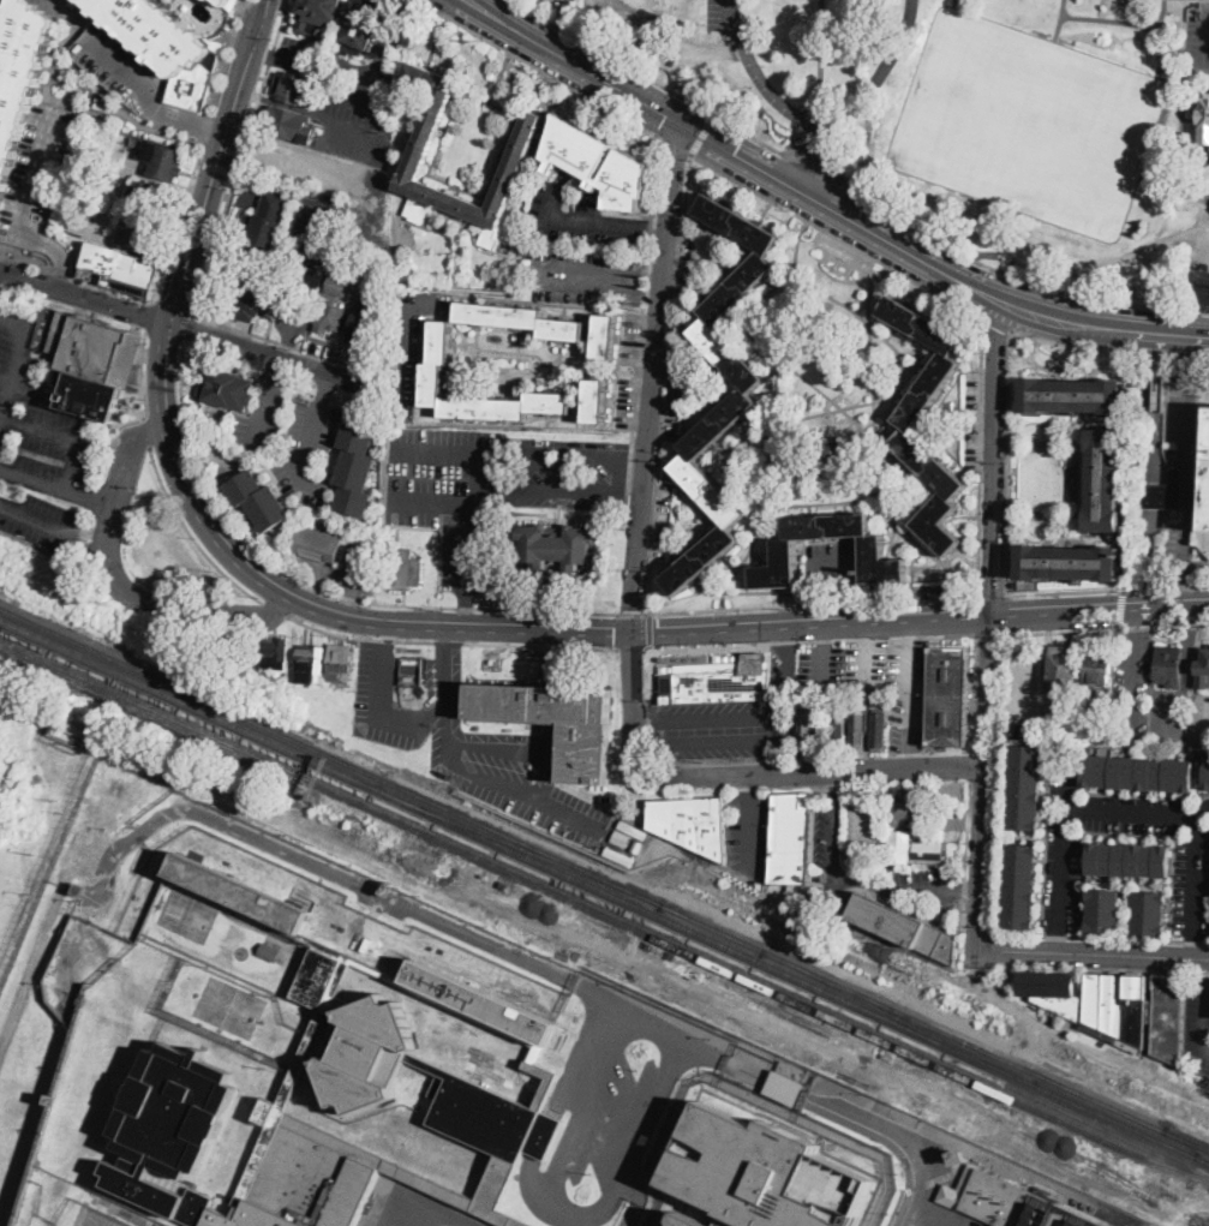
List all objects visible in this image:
road: (468, 0)
road: (469, 0)
building: (228, 4)
building: (317, 14)
building: (360, 26)
road: (67, 32)
building: (166, 46)
road: (821, 53)
parking lot: (119, 65)
road: (78, 71)
road: (545, 72)
building: (20, 74)
road: (646, 77)
building: (294, 88)
road: (92, 97)
road: (150, 98)
road: (68, 100)
road: (98, 110)
traffic signals: (666, 114)
road: (820, 119)
building: (1203, 120)
park: (1028, 124)
building: (292, 125)
road: (157, 131)
road: (704, 133)
road: (794, 133)
building: (421, 145)
road: (680, 146)
road: (199, 149)
road: (732, 151)
traffic signals: (735, 152)
road: (789, 154)
road: (299, 155)
road: (239, 157)
road: (816, 160)
building: (163, 161)
road: (217, 161)
road: (845, 161)
building: (599, 163)
road: (215, 166)
road: (816, 169)
parking lot: (36, 173)
building: (107, 177)
road: (1193, 178)
road: (689, 187)
building: (155, 197)
road: (25, 211)
building: (270, 221)
road: (571, 221)
road: (656, 229)
building: (139, 234)
road: (837, 237)
building: (537, 251)
road: (11, 258)
building: (359, 258)
building: (122, 269)
road: (653, 270)
road: (544, 273)
road: (1011, 274)
building: (309, 279)
building: (341, 285)
road: (650, 293)
building: (253, 297)
road: (150, 313)
building: (513, 316)
building: (331, 317)
building: (365, 322)
road: (998, 322)
road: (1101, 323)
road: (187, 327)
road: (193, 330)
building: (597, 333)
road: (288, 343)
road: (1109, 349)
road: (20, 361)
building: (91, 364)
road: (139, 372)
building: (425, 376)
road: (653, 378)
building: (228, 387)
building: (1160, 393)
building: (1072, 395)
building: (741, 396)
building: (589, 399)
road: (268, 400)
building: (908, 420)
road: (145, 430)
road: (66, 437)
road: (306, 437)
road: (505, 451)
road: (981, 455)
road: (634, 456)
road: (992, 457)
road: (1009, 460)
road: (484, 466)
building: (824, 466)
road: (1189, 470)
building: (355, 471)
building: (1105, 480)
parking lot: (489, 484)
road: (538, 484)
road: (58, 489)
road: (630, 489)
building: (1165, 492)
building: (259, 500)
building: (1203, 500)
road: (466, 504)
parking lot: (658, 518)
road: (37, 520)
road: (190, 533)
building: (318, 544)
building: (556, 545)
building: (784, 546)
building: (1070, 564)
building: (403, 569)
road: (120, 585)
road: (316, 586)
road: (1107, 587)
road: (992, 593)
road: (300, 603)
road: (784, 604)
road: (1120, 608)
road: (466, 609)
road: (273, 610)
road: (632, 614)
road: (920, 620)
road: (650, 629)
road: (1103, 629)
road: (908, 632)
road: (869, 633)
traffic signals: (615, 634)
traffic signals: (660, 634)
road: (987, 634)
road: (824, 635)
road: (389, 639)
road: (809, 640)
road: (445, 641)
road: (450, 641)
road: (630, 648)
road: (1191, 648)
building: (276, 653)
building: (311, 663)
building: (341, 663)
parking lot: (821, 664)
parking lot: (866, 664)
road: (822, 665)
building: (1169, 665)
road: (868, 666)
building: (1099, 666)
building: (1064, 668)
building: (1203, 668)
road: (788, 670)
road: (1132, 670)
building: (724, 680)
road: (445, 681)
parking lot: (1124, 689)
parking lot: (906, 692)
road: (974, 692)
road: (908, 694)
parking lot: (1023, 694)
road: (634, 695)
building: (950, 695)
railway: (190, 704)
road: (710, 716)
parking lot: (729, 720)
building: (557, 722)
building: (840, 723)
road: (783, 726)
building: (858, 728)
building: (804, 729)
building: (879, 731)
building: (61, 736)
building: (1064, 736)
road: (708, 741)
parking lot: (466, 743)
road: (493, 749)
road: (447, 750)
railway: (330, 754)
road: (782, 756)
road: (909, 758)
road: (971, 762)
building: (1138, 773)
road: (806, 775)
road: (947, 775)
building: (1207, 776)
road: (872, 781)
road: (996, 782)
road: (836, 783)
road: (982, 783)
road: (749, 785)
building: (1025, 787)
road: (947, 806)
building: (904, 811)
road: (1137, 811)
road: (873, 823)
building: (692, 824)
parking lot: (749, 830)
road: (964, 830)
road: (836, 831)
road: (750, 832)
building: (640, 833)
building: (791, 838)
parking lot: (828, 844)
railway: (520, 847)
building: (912, 849)
road: (966, 853)
building: (1130, 860)
road: (1060, 881)
road: (896, 885)
parking lot: (927, 885)
building: (1021, 886)
road: (1195, 886)
building: (389, 887)
road: (969, 891)
building: (803, 895)
railway: (604, 903)
building: (1103, 911)
railway: (603, 913)
building: (1150, 913)
road: (438, 920)
railway: (711, 926)
building: (905, 928)
road: (976, 932)
railway: (706, 937)
road: (1099, 937)
building: (270, 951)
road: (1093, 956)
building: (1095, 1004)
road: (1202, 1005)
railway: (898, 1017)
building: (1169, 1018)
parking lot: (1197, 1024)
building: (361, 1036)
railway: (963, 1040)
building: (786, 1081)
building: (54, 1100)
railway: (1114, 1120)
road: (894, 1138)
railway: (1186, 1138)
railway: (1186, 1140)
building: (959, 1156)
railway: (1202, 1160)
railway: (1202, 1160)
building: (765, 1173)
building: (498, 1192)
building: (1010, 1201)
road: (932, 1215)
building: (690, 1220)
parking lot: (902, 1221)

